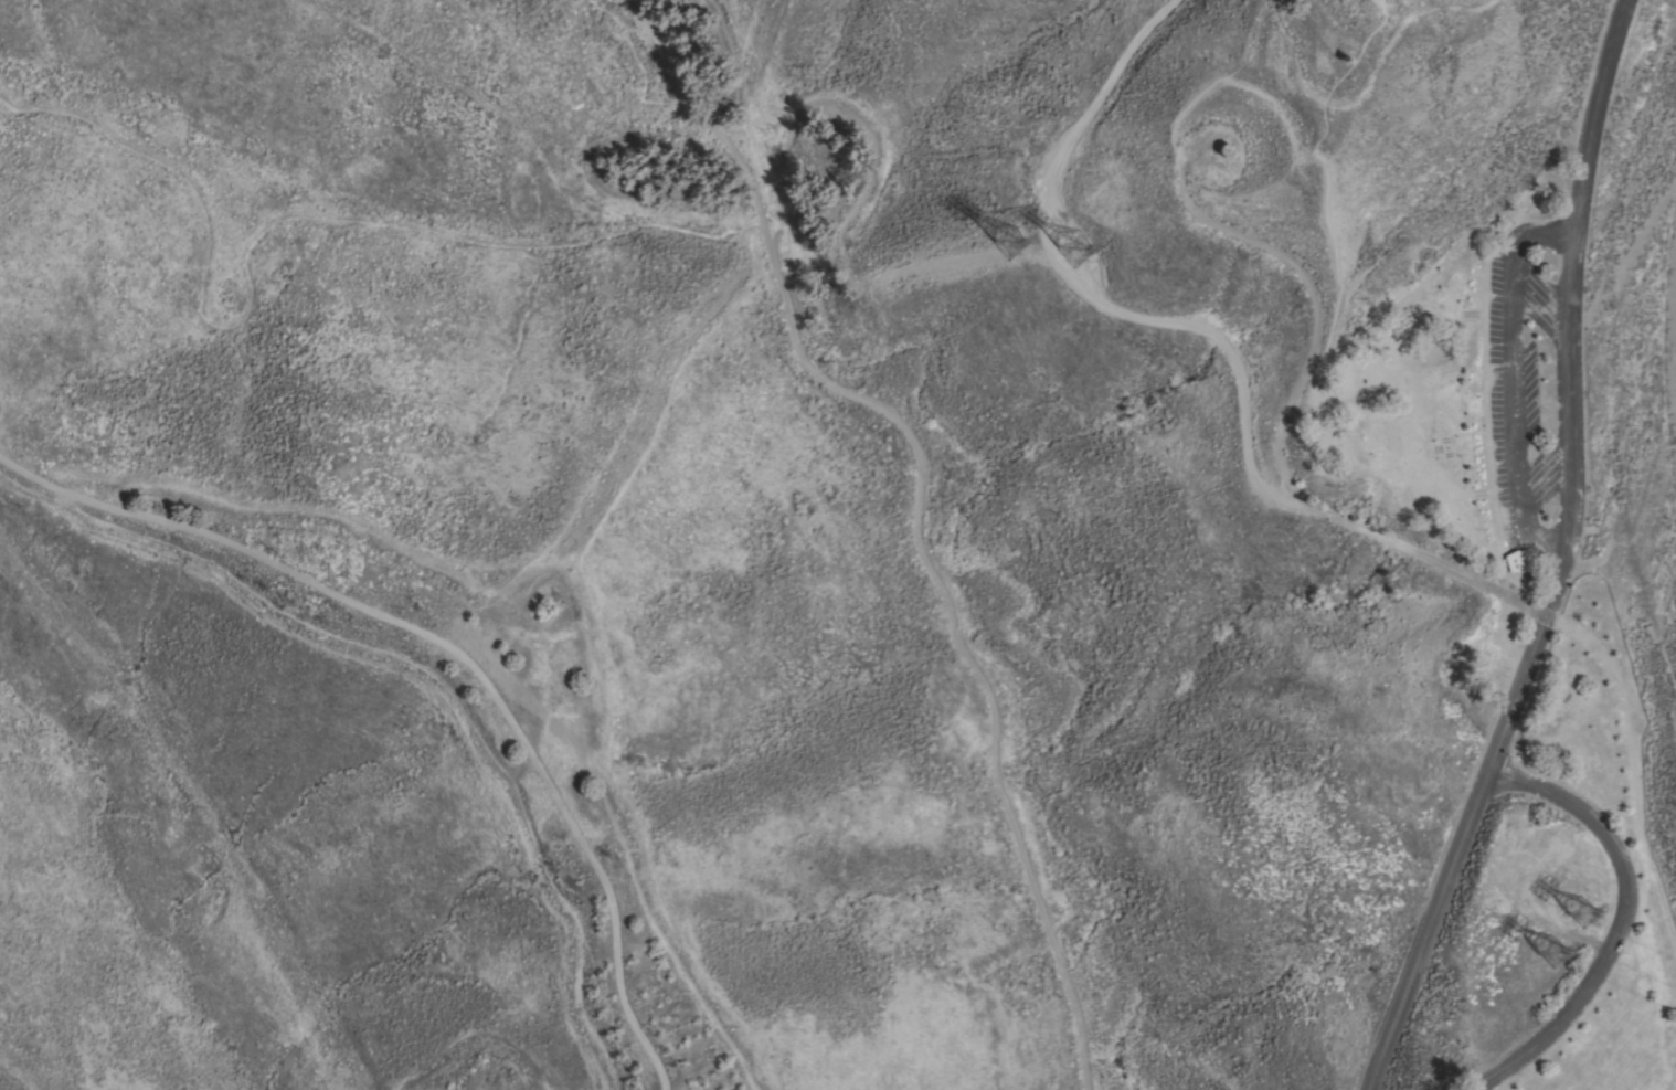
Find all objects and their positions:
road: (1291, 129)
storage tank: (1224, 150)
road: (262, 224)
road: (1523, 235)
power tower: (1000, 244)
power tower: (1059, 252)
road: (1332, 253)
road: (1308, 295)
road: (1206, 325)
parking lot: (1510, 371)
road: (1492, 391)
road: (912, 511)
road: (1535, 523)
road: (1555, 557)
building: (1517, 560)
park: (929, 562)
road: (458, 649)
road: (422, 678)
road: (1630, 766)
power tower: (1592, 912)
road: (1606, 920)
power tower: (1561, 957)

